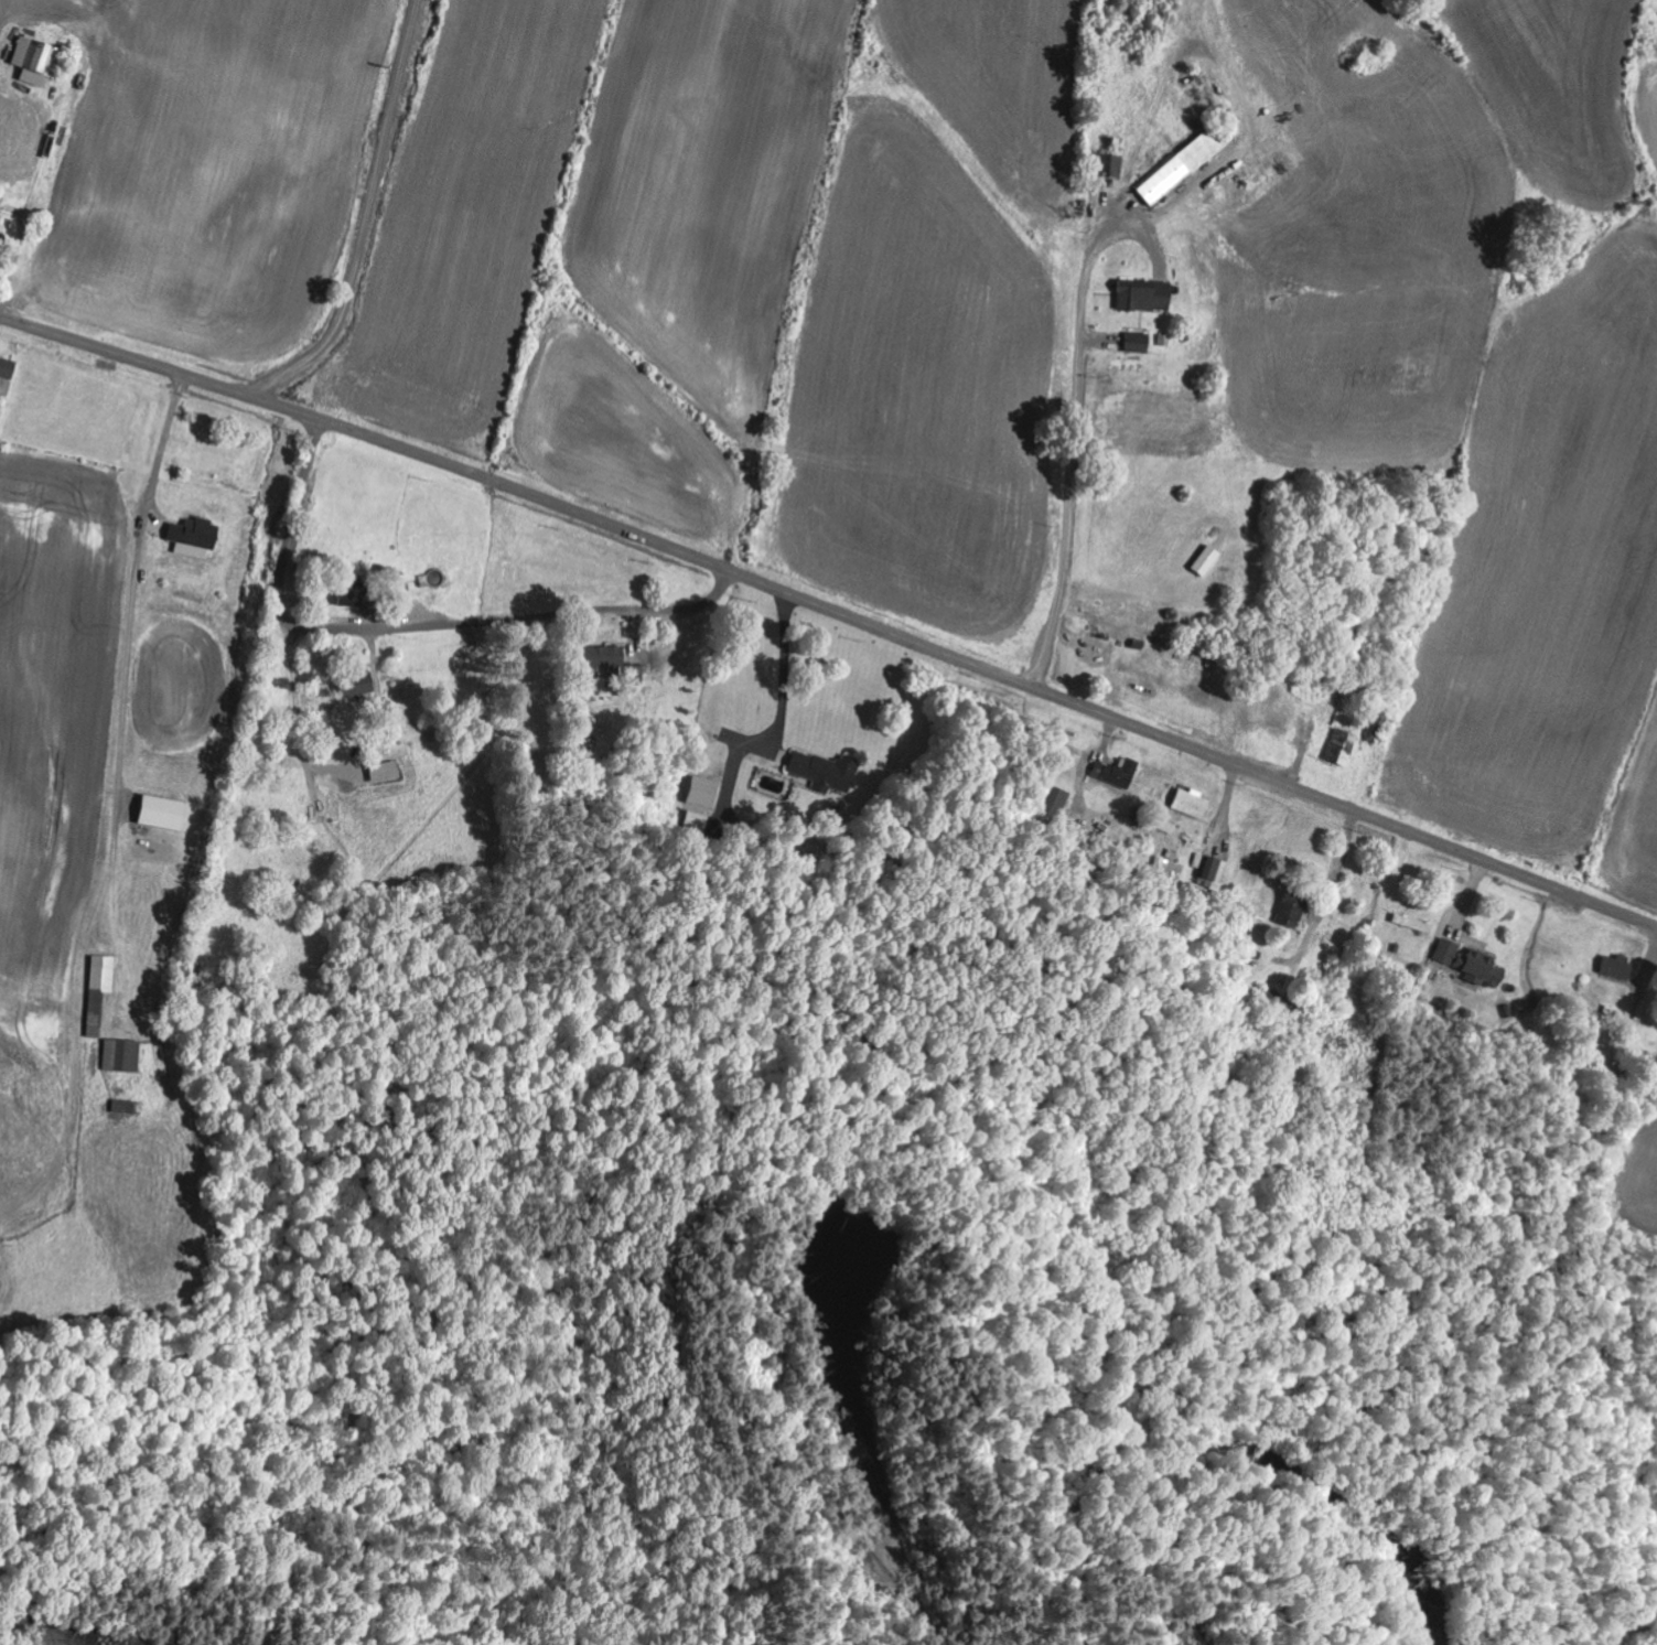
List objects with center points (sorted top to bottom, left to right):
building: (40, 62)
building: (1111, 166)
building: (1183, 169)
road: (368, 216)
building: (1148, 298)
building: (1139, 344)
road: (161, 368)
building: (8, 377)
building: (198, 533)
road: (413, 625)
building: (603, 658)
road: (990, 671)
road: (251, 721)
building: (1344, 748)
building: (813, 766)
building: (1119, 773)
building: (1193, 804)
building: (165, 813)
building: (1293, 912)
building: (1473, 964)
building: (1620, 968)
building: (101, 991)
building: (125, 1056)
building: (126, 1107)

